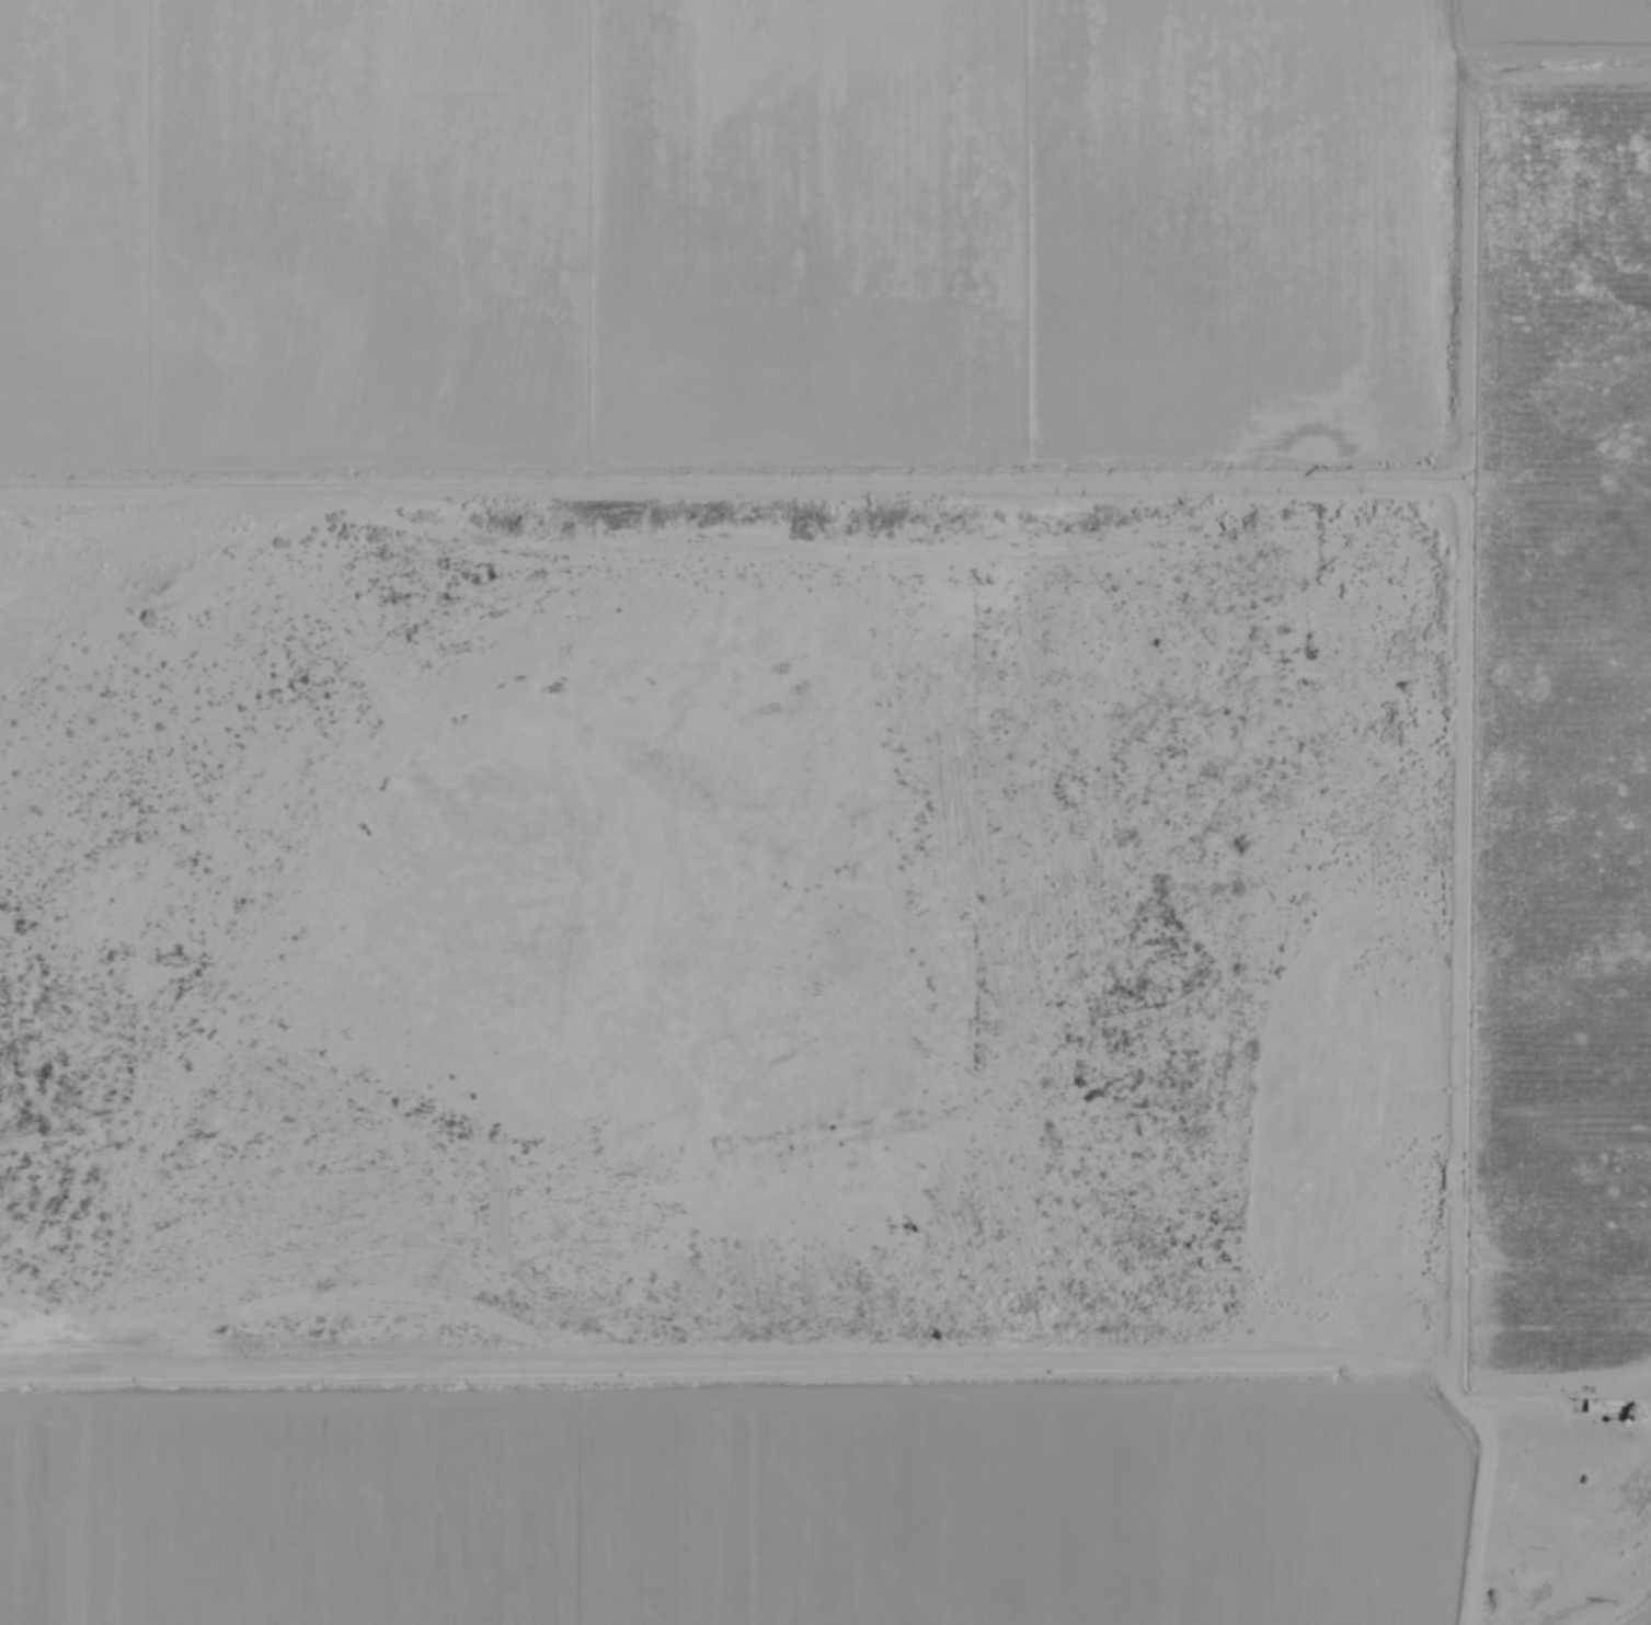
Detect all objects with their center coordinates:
crop: (823, 810)

